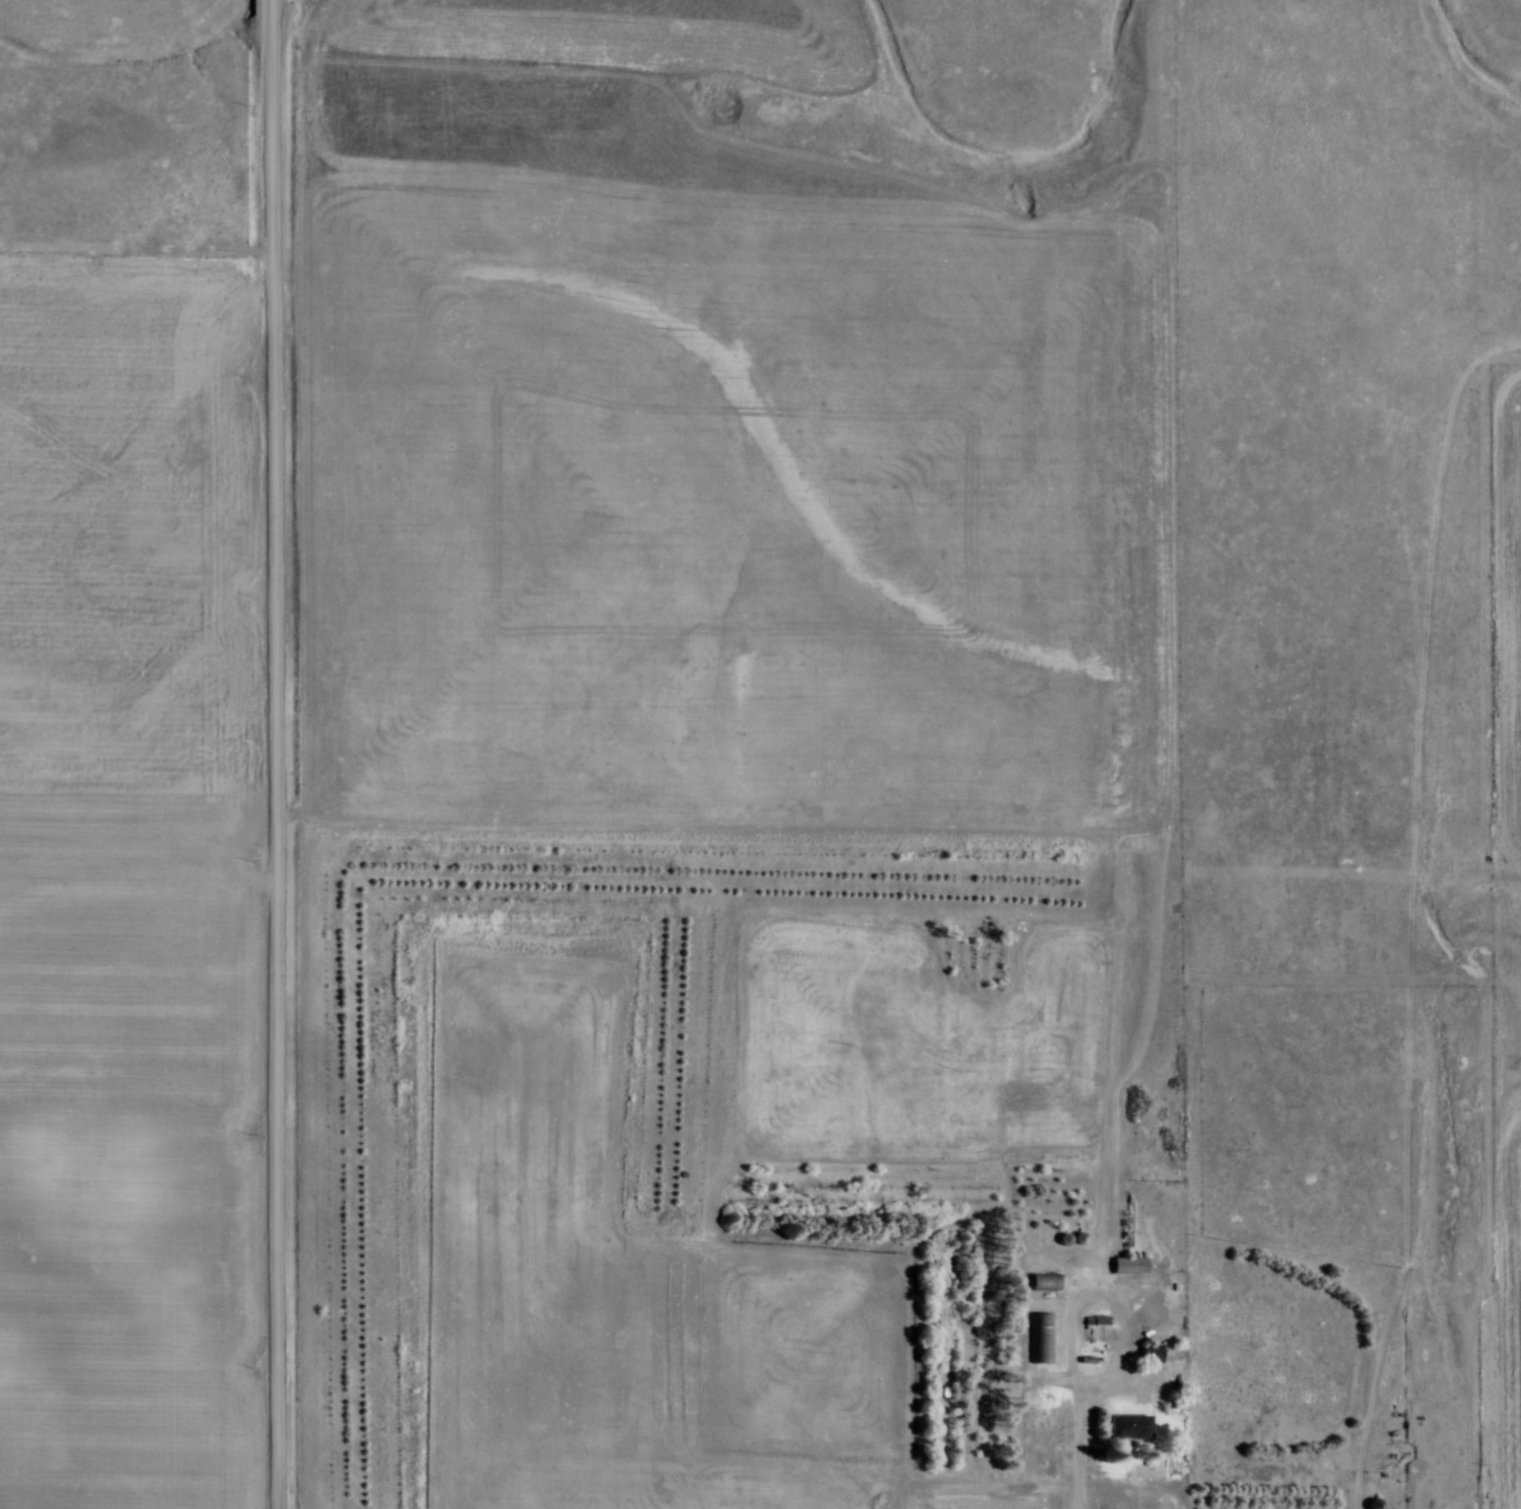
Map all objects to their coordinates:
road: (270, 5)
crop: (683, 478)
crop: (1507, 606)
road: (276, 759)
crop: (129, 884)
silo: (1080, 1235)
silo: (1066, 1237)
building: (1130, 1265)
building: (1046, 1280)
crop: (634, 1286)
road: (1096, 1286)
crop: (1510, 1299)
building: (1096, 1318)
building: (1042, 1336)
building: (1153, 1352)
building: (1090, 1359)
building: (1131, 1425)
road: (1080, 1475)
silo: (1376, 1503)

